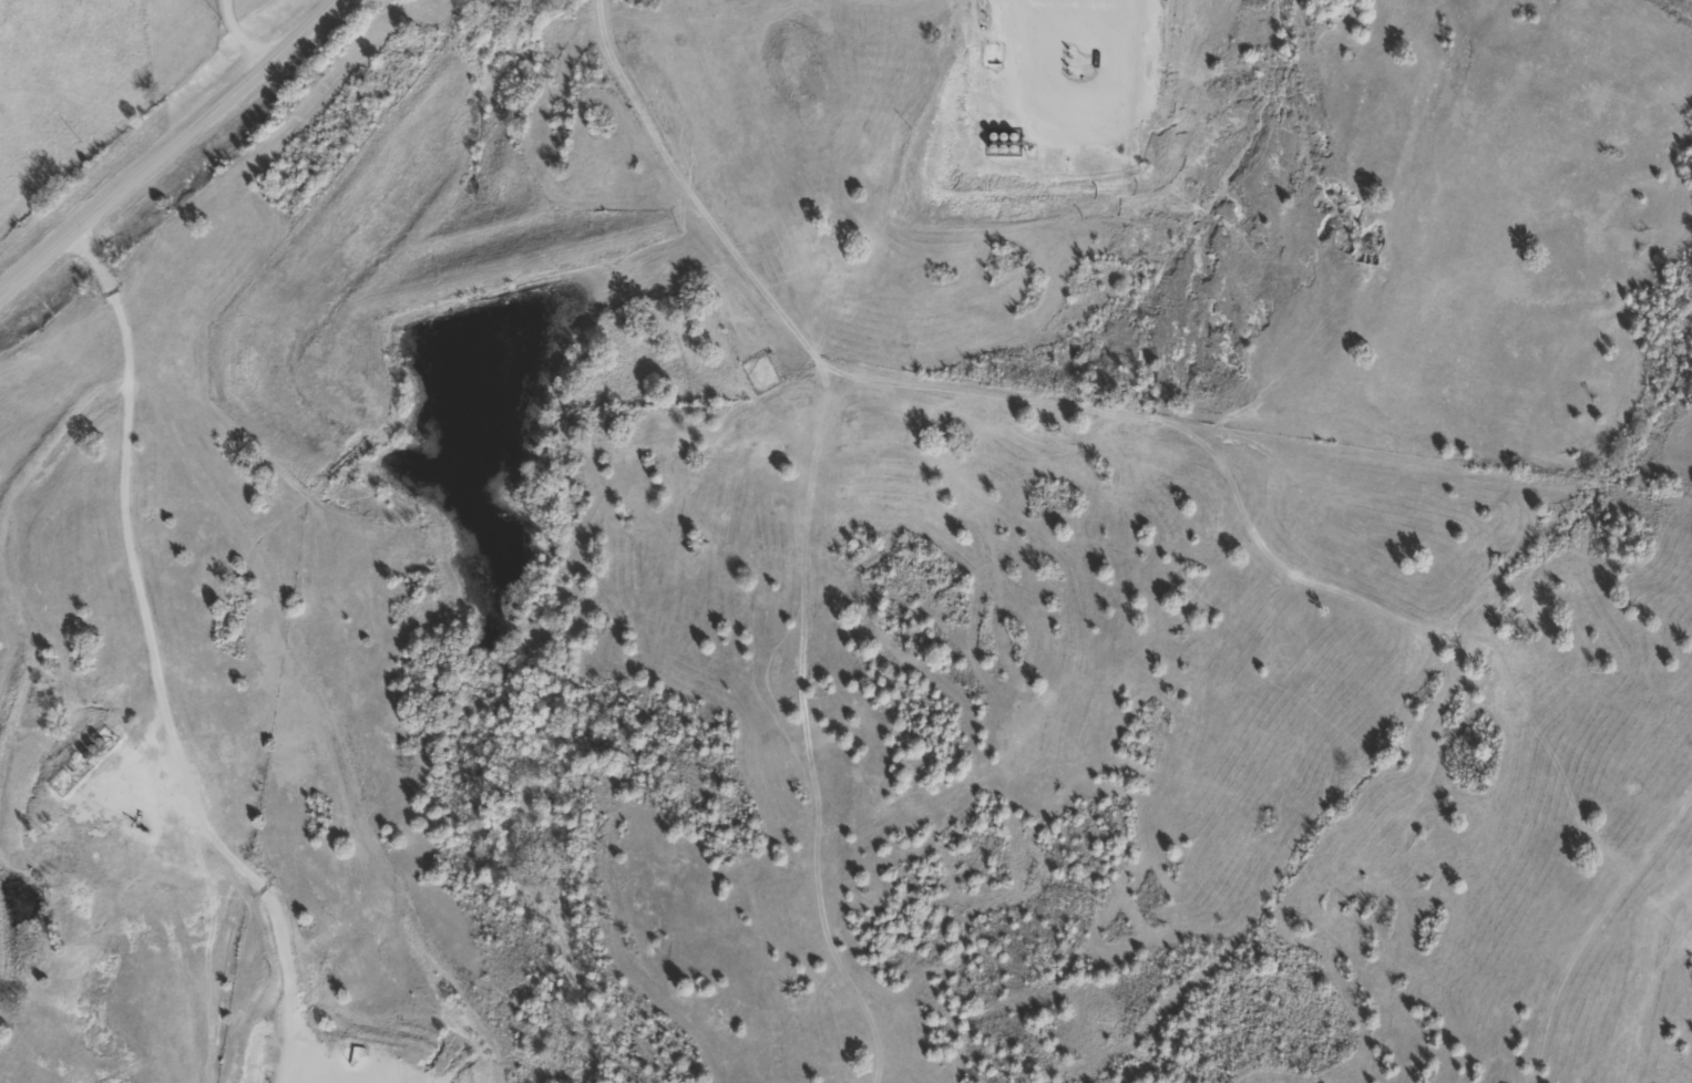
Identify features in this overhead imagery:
road: (1099, 76)
road: (167, 149)
road: (163, 669)
road: (130, 785)
road: (450, 1075)

